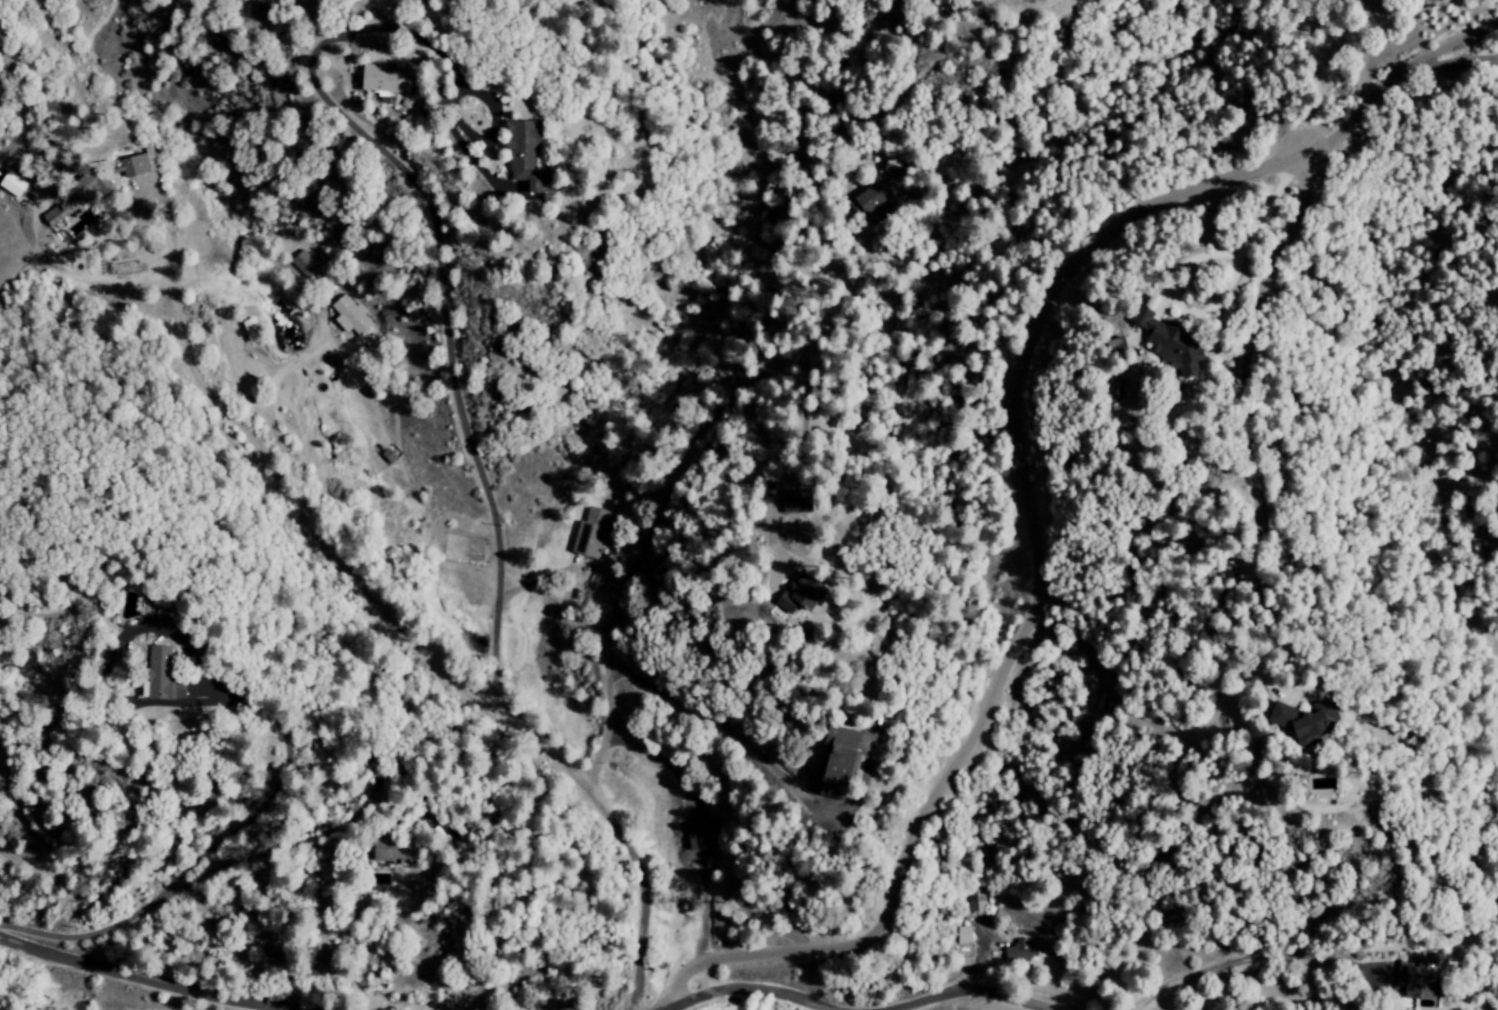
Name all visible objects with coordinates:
road: (1495, 56)
road: (437, 57)
road: (1462, 58)
building: (376, 81)
building: (515, 153)
building: (133, 165)
building: (11, 185)
building: (85, 186)
building: (869, 199)
building: (51, 216)
building: (302, 262)
building: (349, 315)
building: (248, 330)
building: (1159, 341)
road: (444, 343)
building: (1106, 349)
road: (1250, 405)
building: (387, 457)
road: (1016, 479)
road: (651, 520)
building: (591, 534)
building: (787, 599)
road: (410, 651)
building: (161, 680)
building: (1302, 722)
road: (715, 724)
building: (830, 762)
building: (392, 851)
building: (963, 935)
building: (1020, 950)
building: (1416, 980)
road: (125, 982)
road: (742, 995)
road: (963, 1000)

